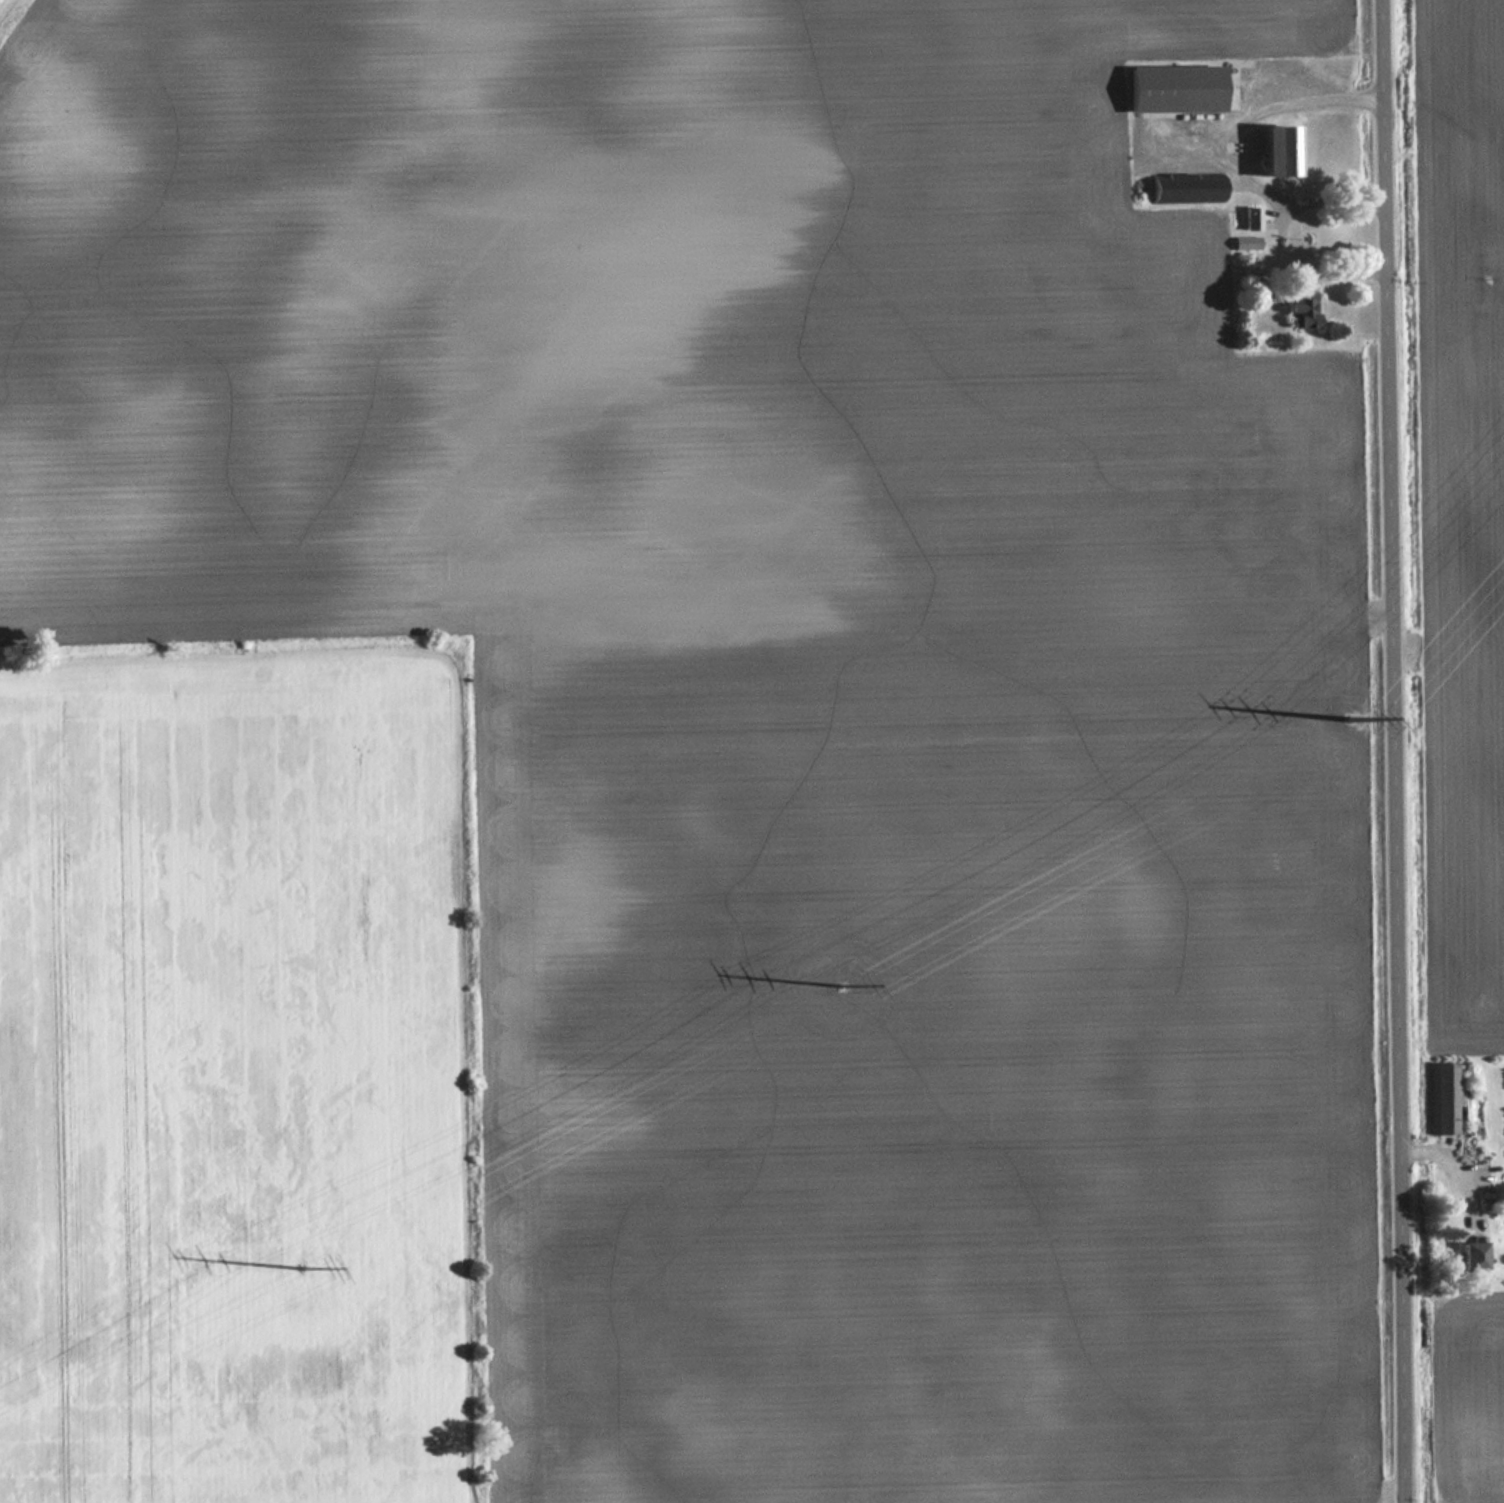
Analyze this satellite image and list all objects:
building: (1178, 89)
building: (1283, 151)
building: (1189, 189)
building: (1253, 219)
building: (1246, 244)
building: (1301, 300)
power tower: (1347, 709)
road: (1395, 751)
power tower: (837, 976)
building: (1444, 1099)
building: (1474, 1257)

